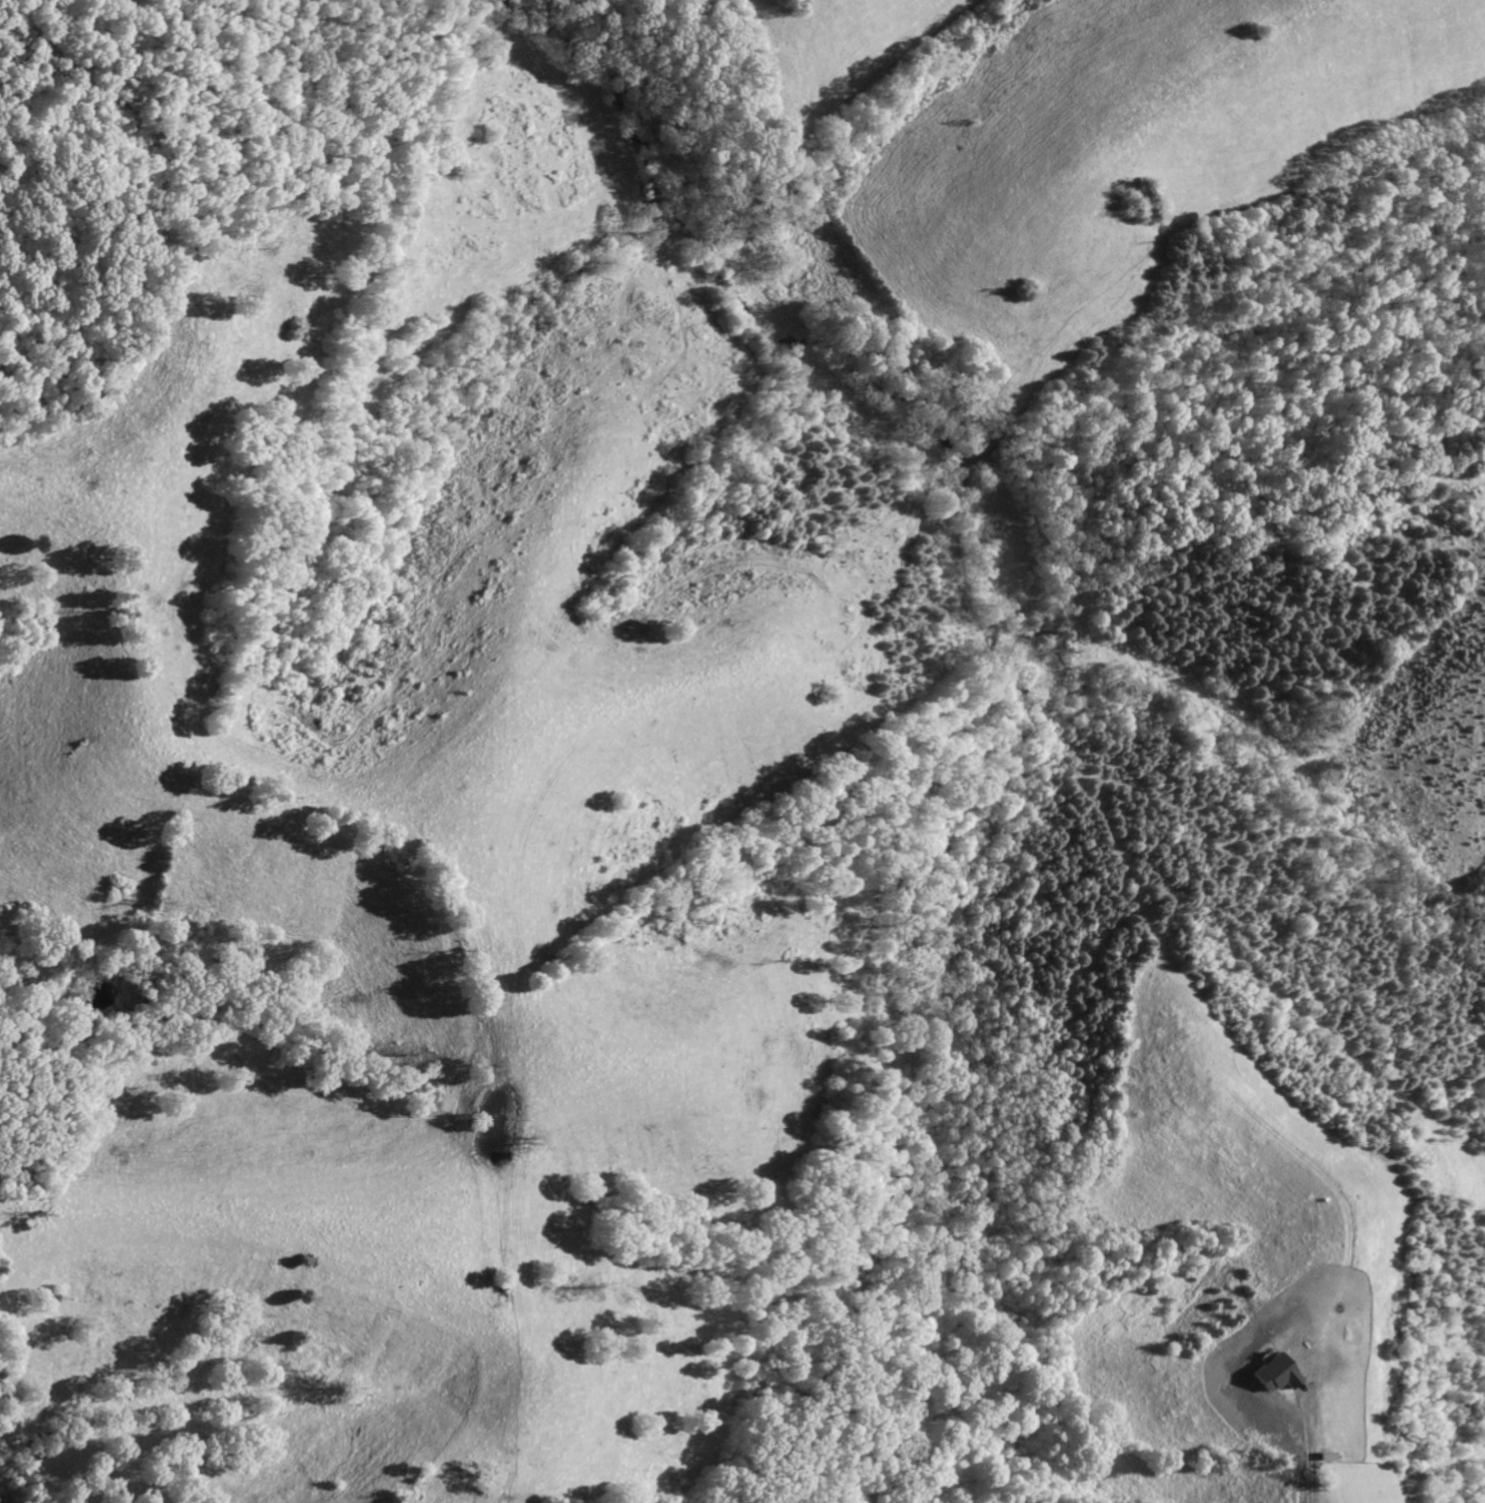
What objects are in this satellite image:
road: (1309, 1480)

